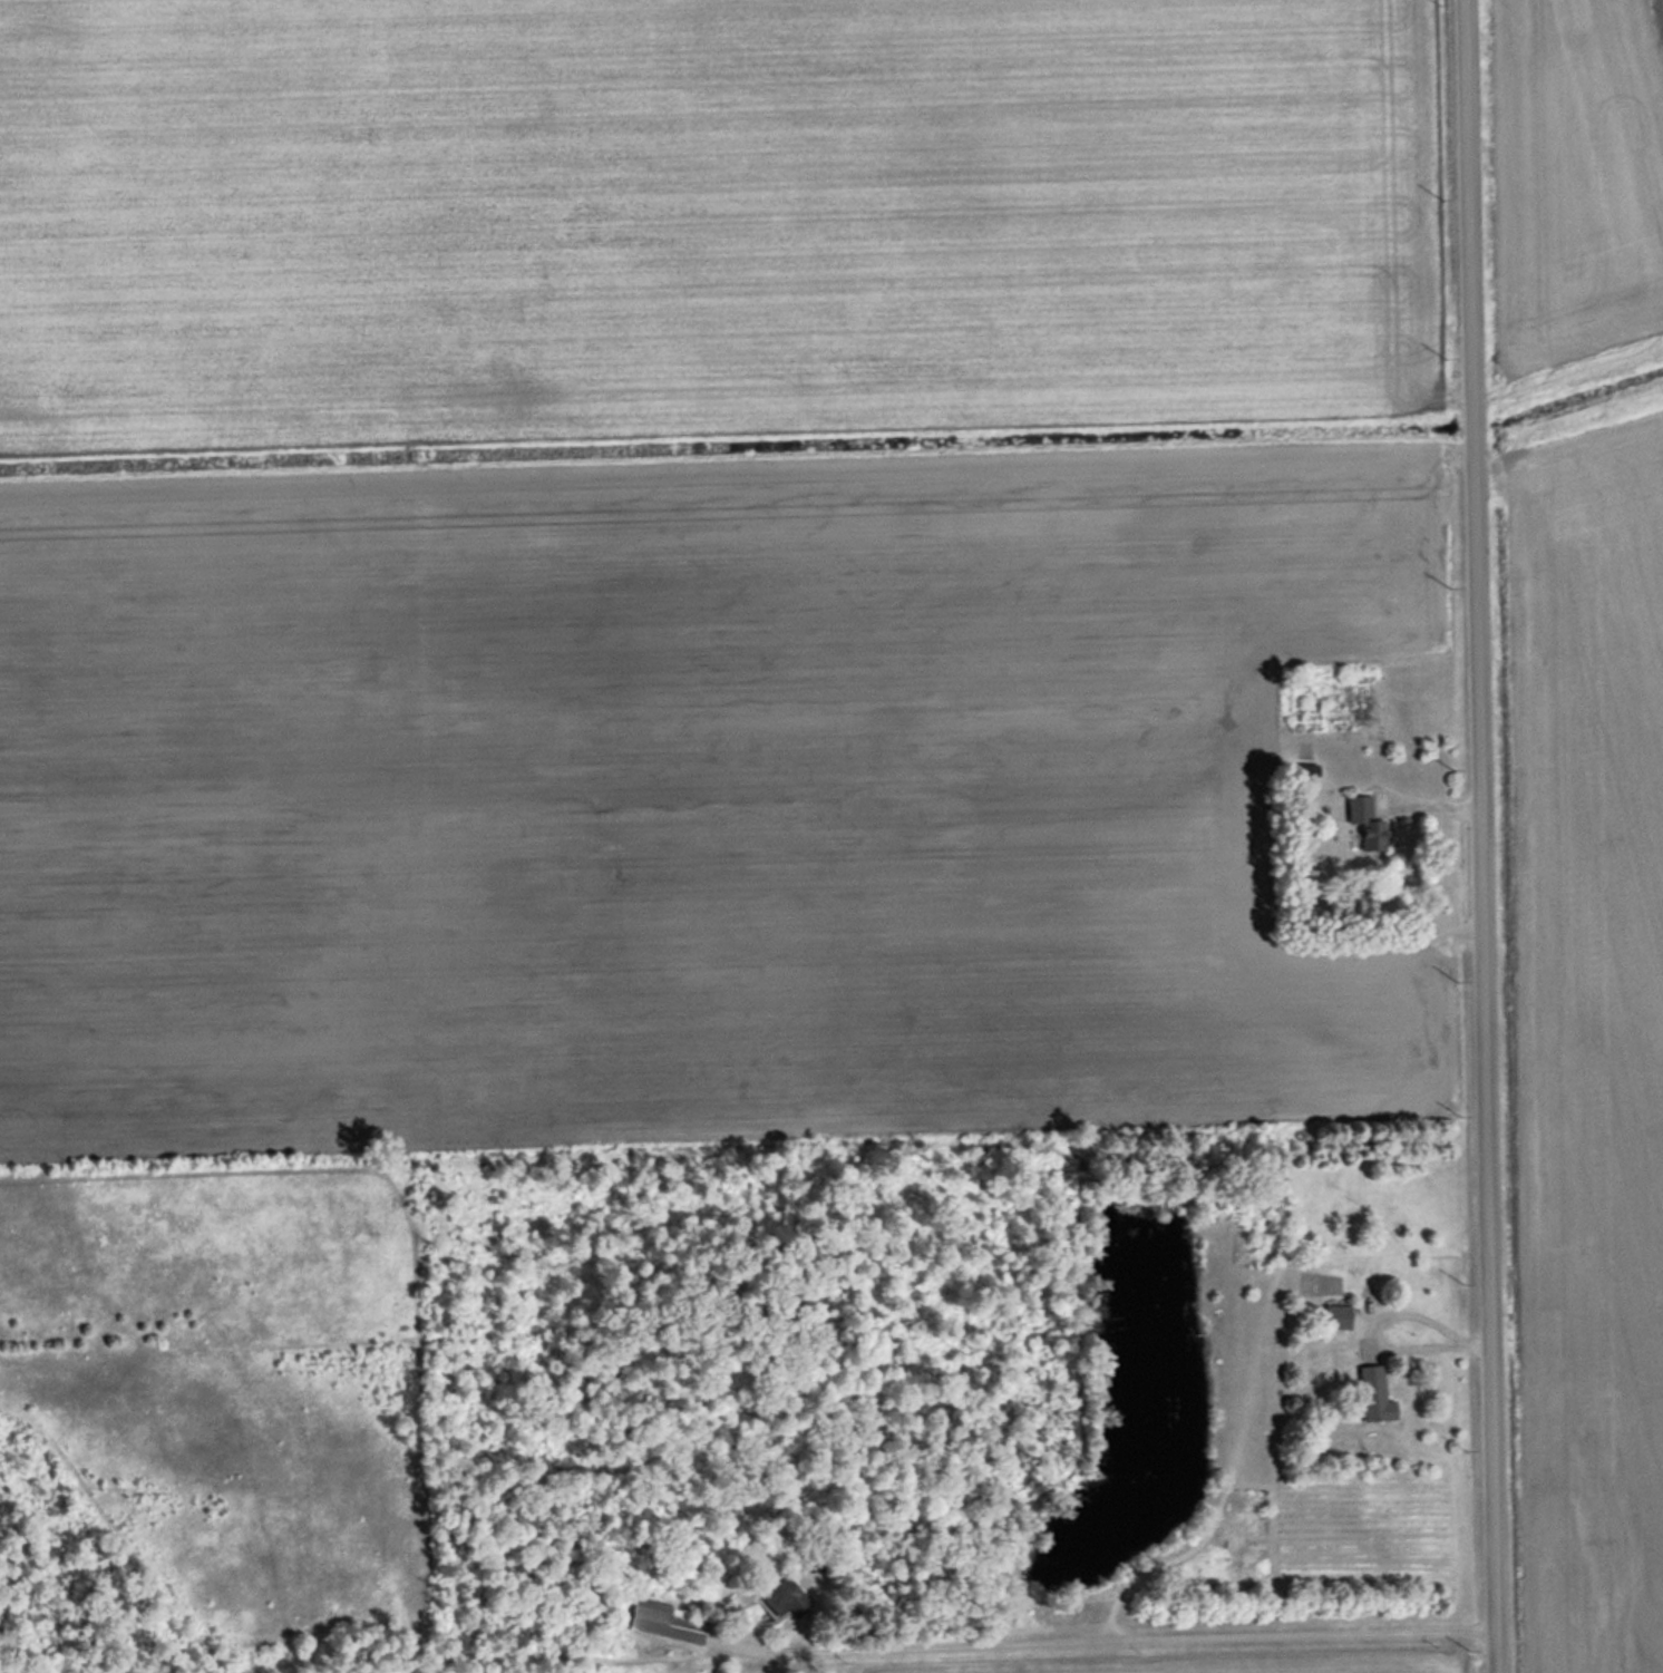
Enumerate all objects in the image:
building: (1309, 772)
building: (1368, 821)
road: (1477, 836)
building: (1338, 1314)
building: (1375, 1392)
building: (786, 1598)
building: (669, 1621)

